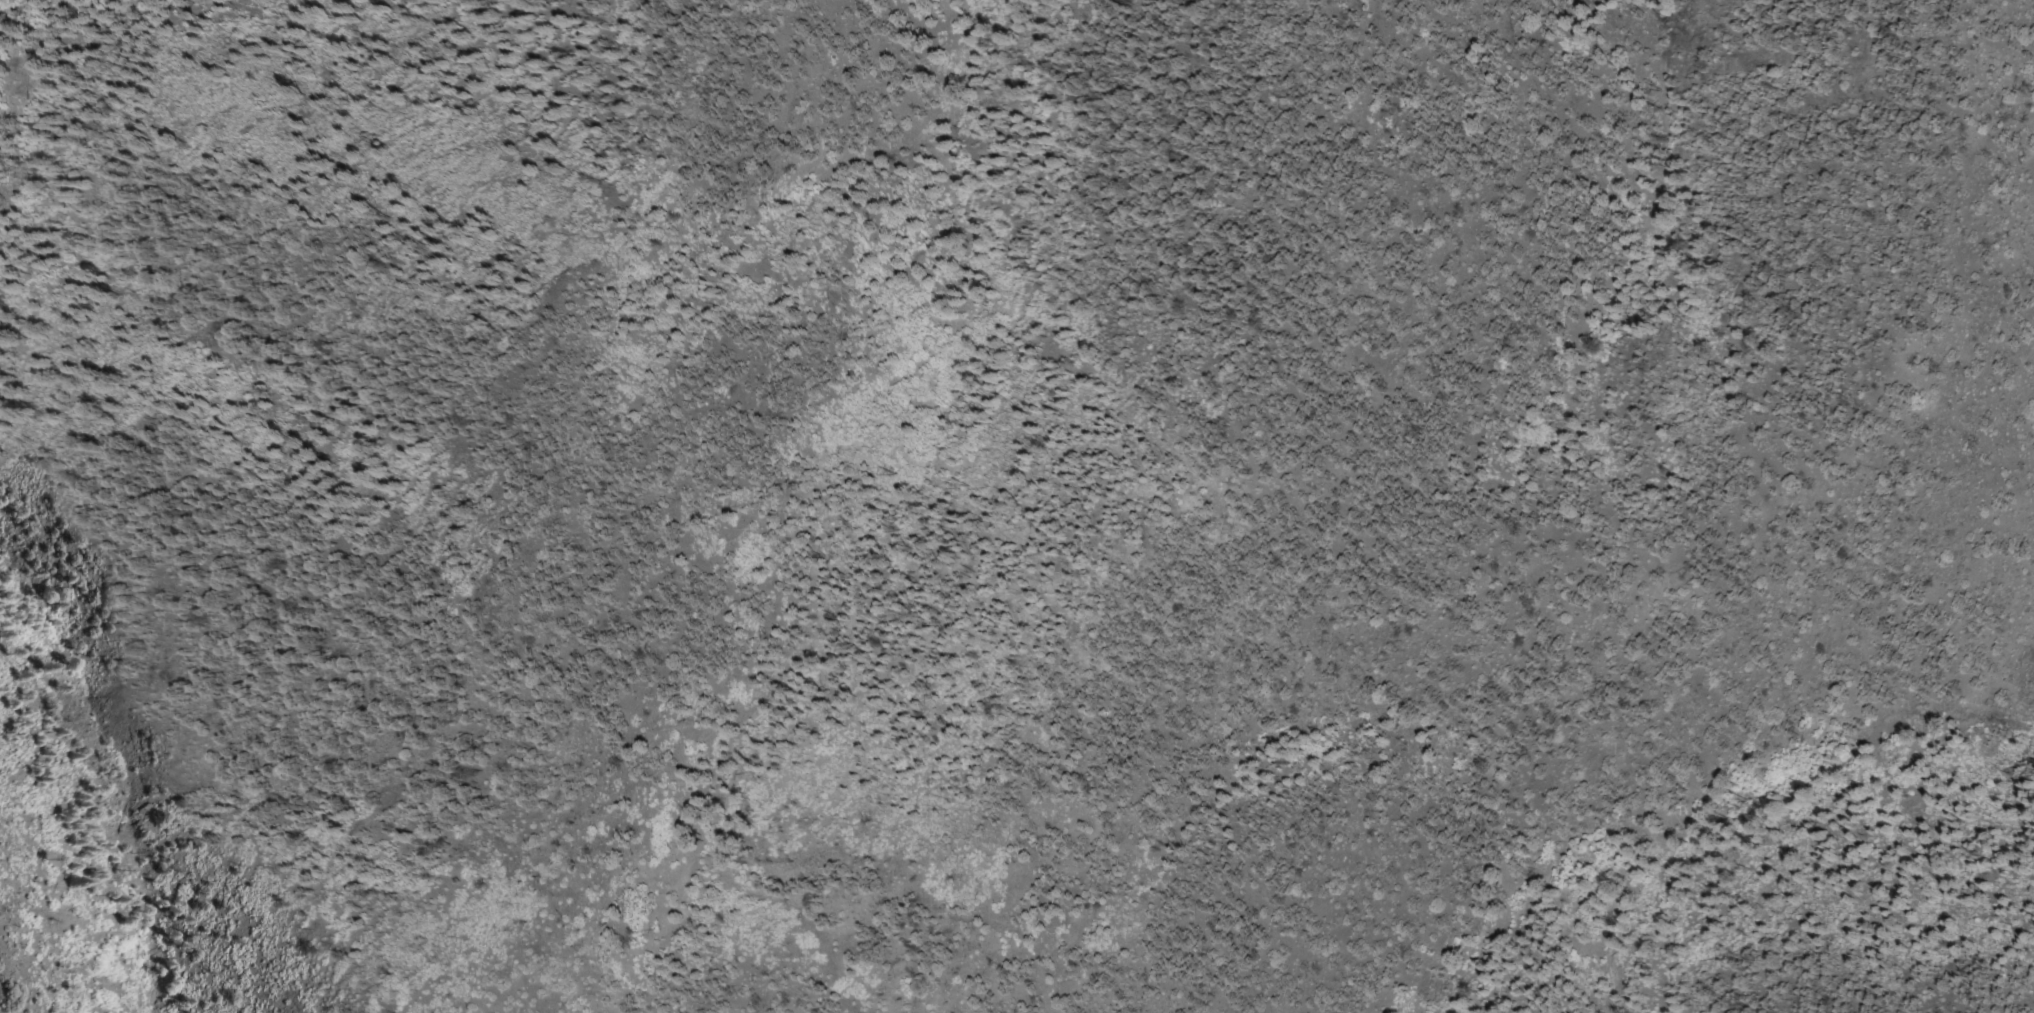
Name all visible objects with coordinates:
road: (24, 4)
road: (238, 4)

